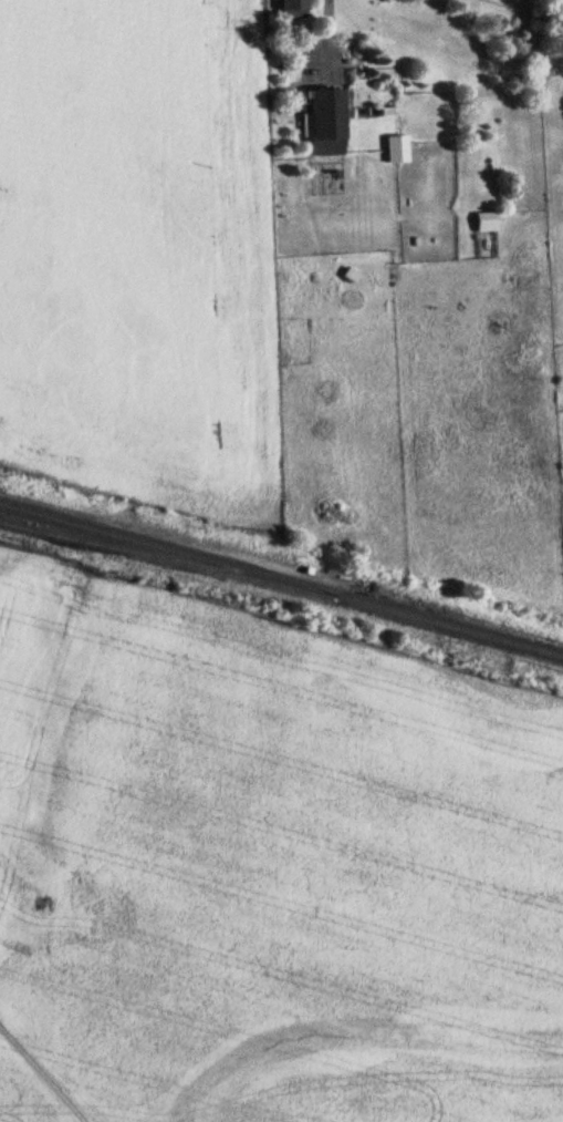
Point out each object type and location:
building: (291, 7)
building: (324, 120)
building: (394, 146)
building: (483, 219)
railway: (150, 555)
railway: (281, 578)

